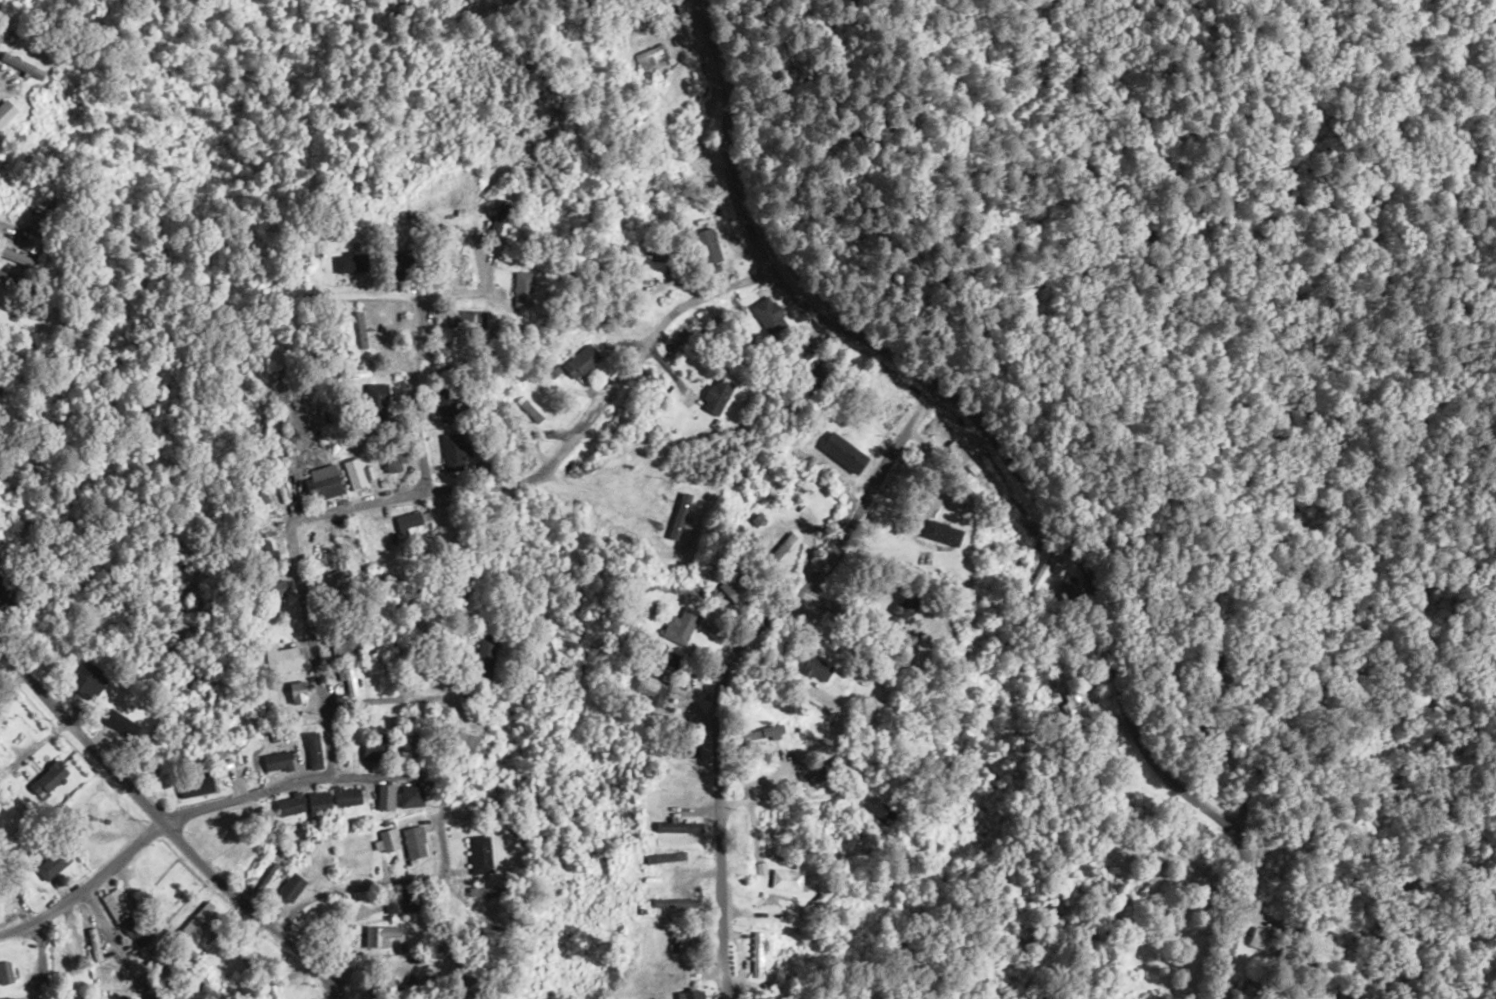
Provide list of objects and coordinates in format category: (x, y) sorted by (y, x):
road: (658, 28)
building: (641, 37)
building: (652, 56)
building: (20, 65)
building: (5, 110)
building: (630, 200)
building: (495, 228)
building: (30, 231)
building: (349, 262)
building: (454, 263)
building: (404, 266)
building: (650, 267)
building: (6, 277)
building: (521, 288)
road: (373, 291)
building: (769, 314)
building: (466, 318)
building: (804, 358)
building: (581, 361)
road: (1166, 383)
road: (415, 393)
building: (715, 395)
building: (446, 398)
building: (376, 401)
building: (452, 452)
building: (841, 452)
road: (1030, 454)
building: (393, 462)
building: (358, 475)
building: (323, 479)
building: (257, 491)
road: (355, 505)
building: (406, 522)
building: (941, 532)
road: (926, 533)
building: (264, 552)
building: (327, 579)
building: (275, 586)
building: (1065, 590)
building: (4, 591)
building: (906, 605)
road: (877, 616)
building: (678, 626)
building: (345, 644)
road: (311, 648)
building: (481, 657)
building: (282, 658)
building: (663, 660)
road: (780, 667)
building: (815, 668)
building: (84, 677)
building: (347, 677)
building: (650, 686)
building: (296, 692)
road: (371, 701)
building: (1076, 704)
building: (860, 713)
building: (119, 724)
building: (814, 730)
building: (760, 733)
road: (45, 738)
road: (442, 741)
building: (458, 741)
building: (374, 748)
building: (685, 748)
building: (310, 750)
building: (405, 752)
building: (274, 762)
building: (755, 768)
building: (50, 777)
building: (682, 781)
building: (194, 785)
building: (408, 795)
building: (344, 796)
road: (240, 797)
building: (383, 797)
building: (316, 804)
building: (286, 805)
building: (875, 810)
building: (462, 811)
road: (798, 812)
road: (439, 822)
road: (166, 827)
building: (678, 827)
building: (1285, 840)
building: (386, 841)
building: (414, 841)
building: (479, 854)
building: (52, 863)
road: (779, 867)
road: (933, 875)
building: (786, 879)
building: (266, 880)
building: (655, 885)
building: (289, 888)
road: (352, 888)
building: (168, 896)
building: (6, 899)
building: (404, 901)
building: (115, 903)
road: (60, 906)
building: (197, 922)
road: (18, 928)
building: (136, 932)
building: (380, 935)
building: (1260, 936)
road: (938, 939)
building: (684, 940)
road: (118, 942)
building: (78, 943)
building: (94, 946)
building: (754, 954)
road: (39, 961)
building: (673, 966)
building: (5, 973)
building: (382, 984)
building: (188, 995)
building: (687, 995)
building: (26, 997)
building: (124, 997)
building: (6, 998)

